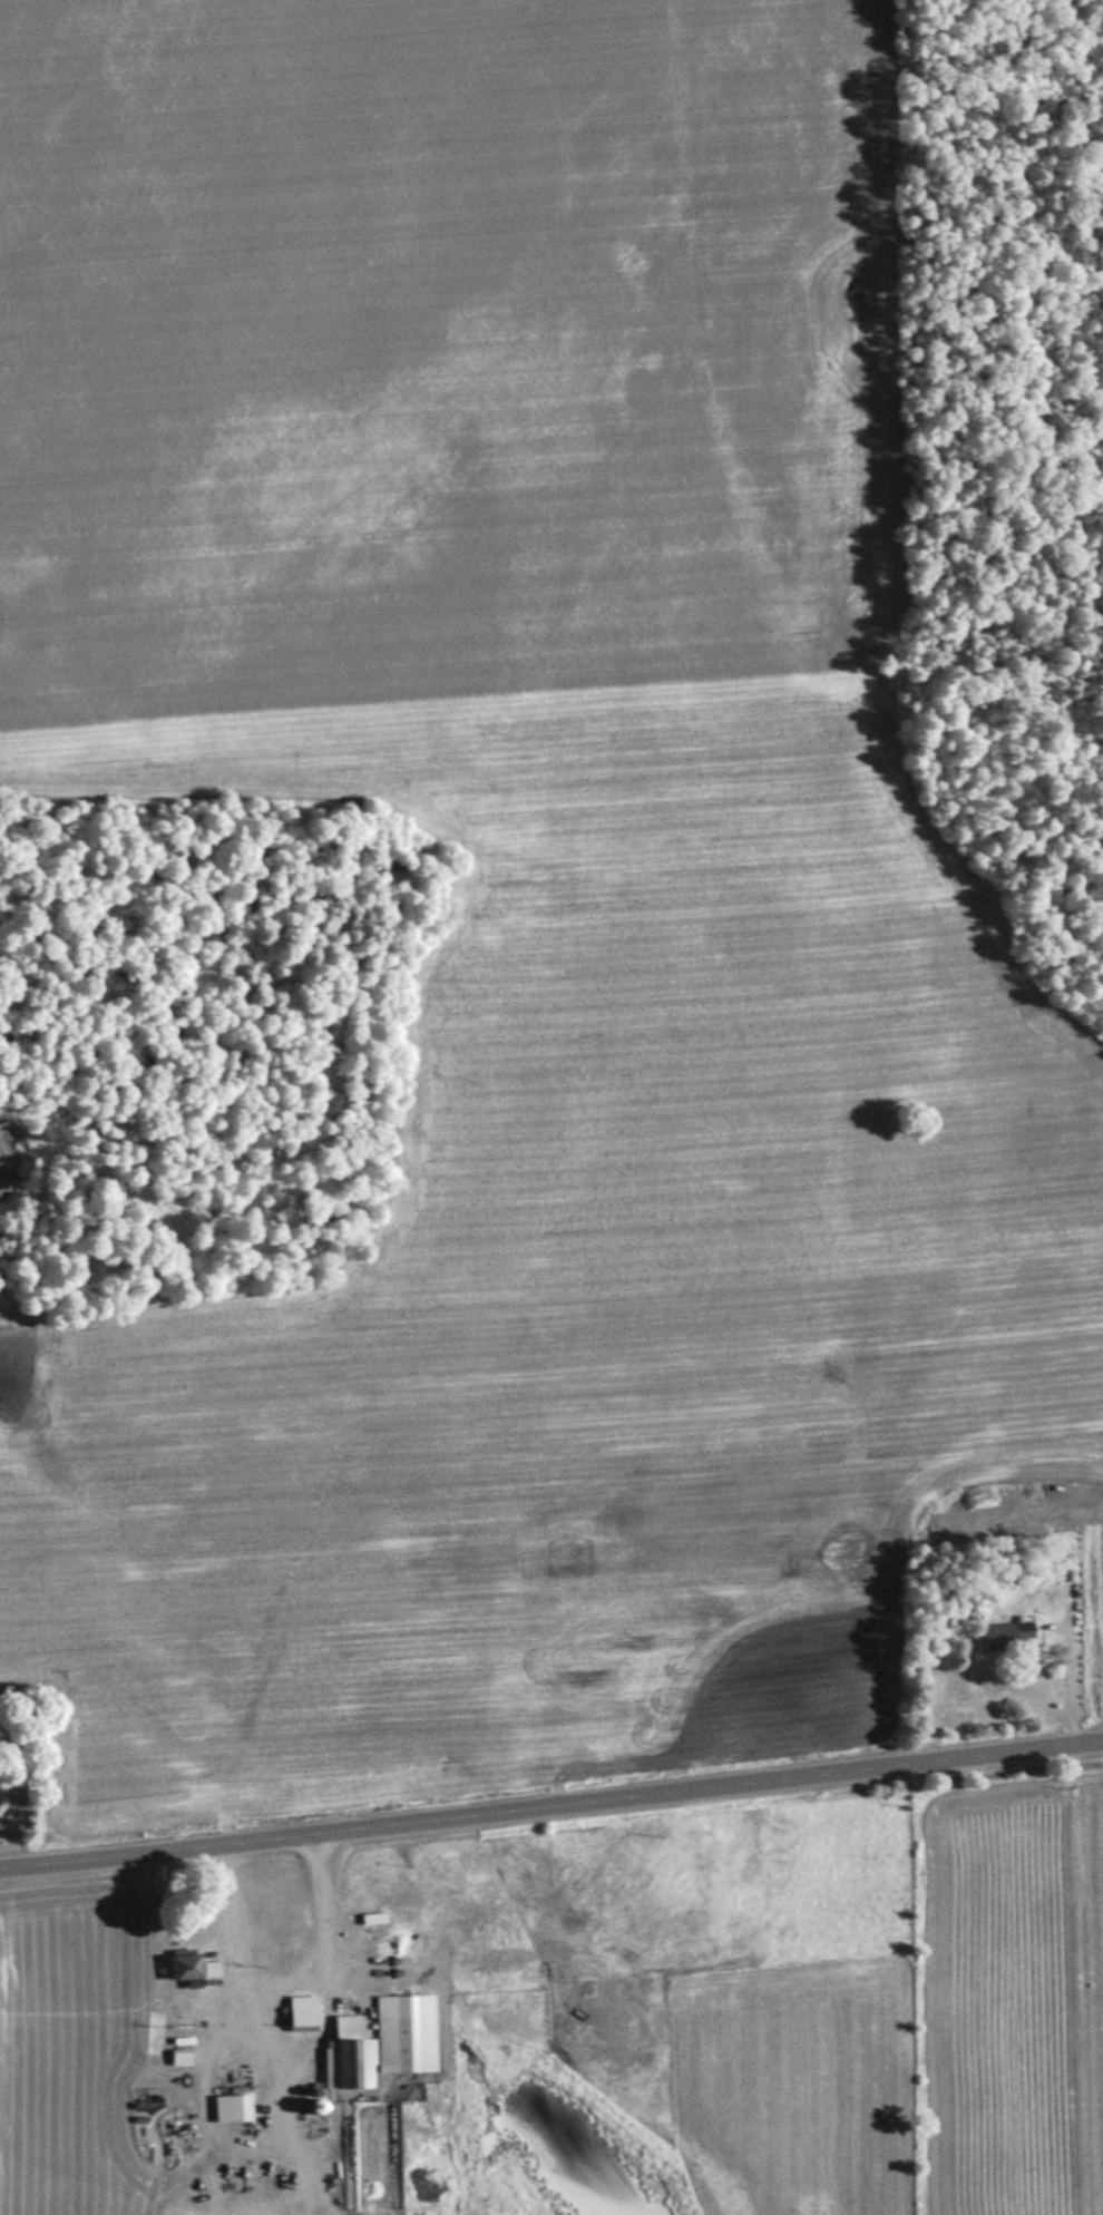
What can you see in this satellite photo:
building: (1011, 1636)
road: (551, 1802)
building: (305, 2012)
building: (399, 2042)
building: (351, 2055)
building: (184, 2057)
building: (235, 2108)

